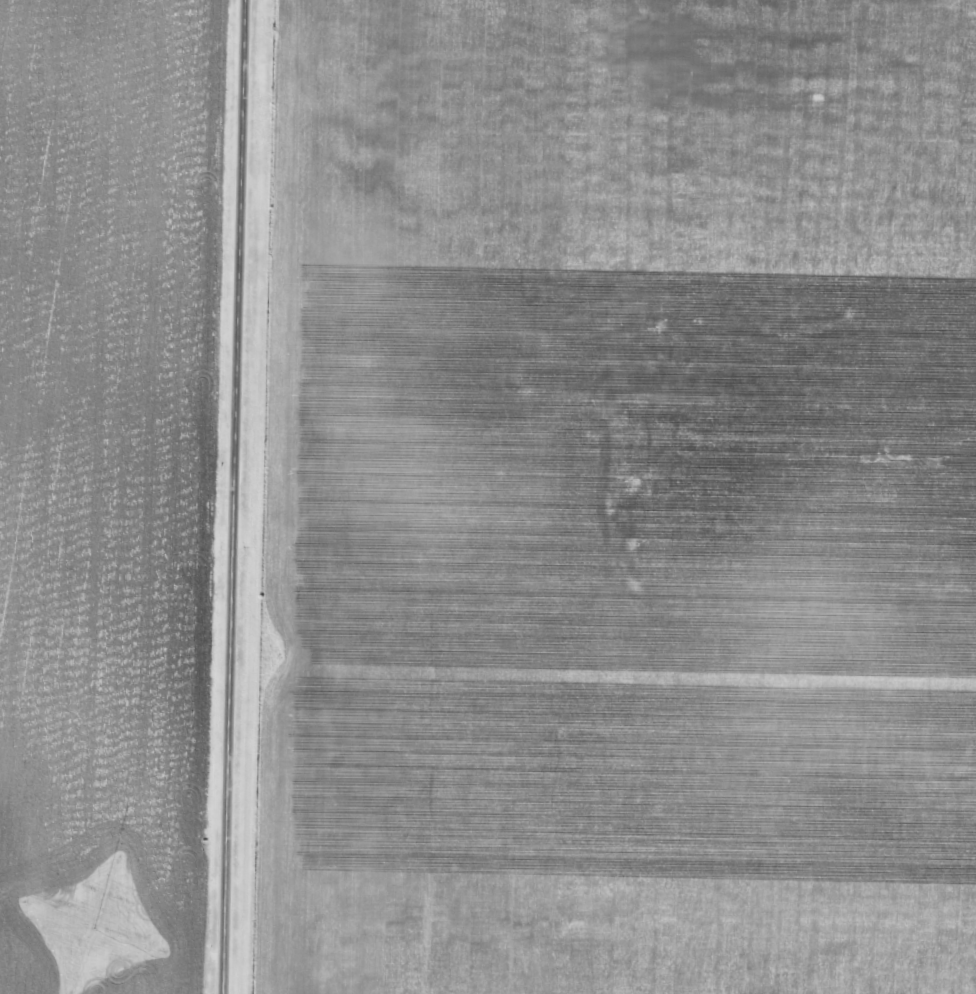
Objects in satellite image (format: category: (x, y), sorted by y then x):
road: (234, 497)

